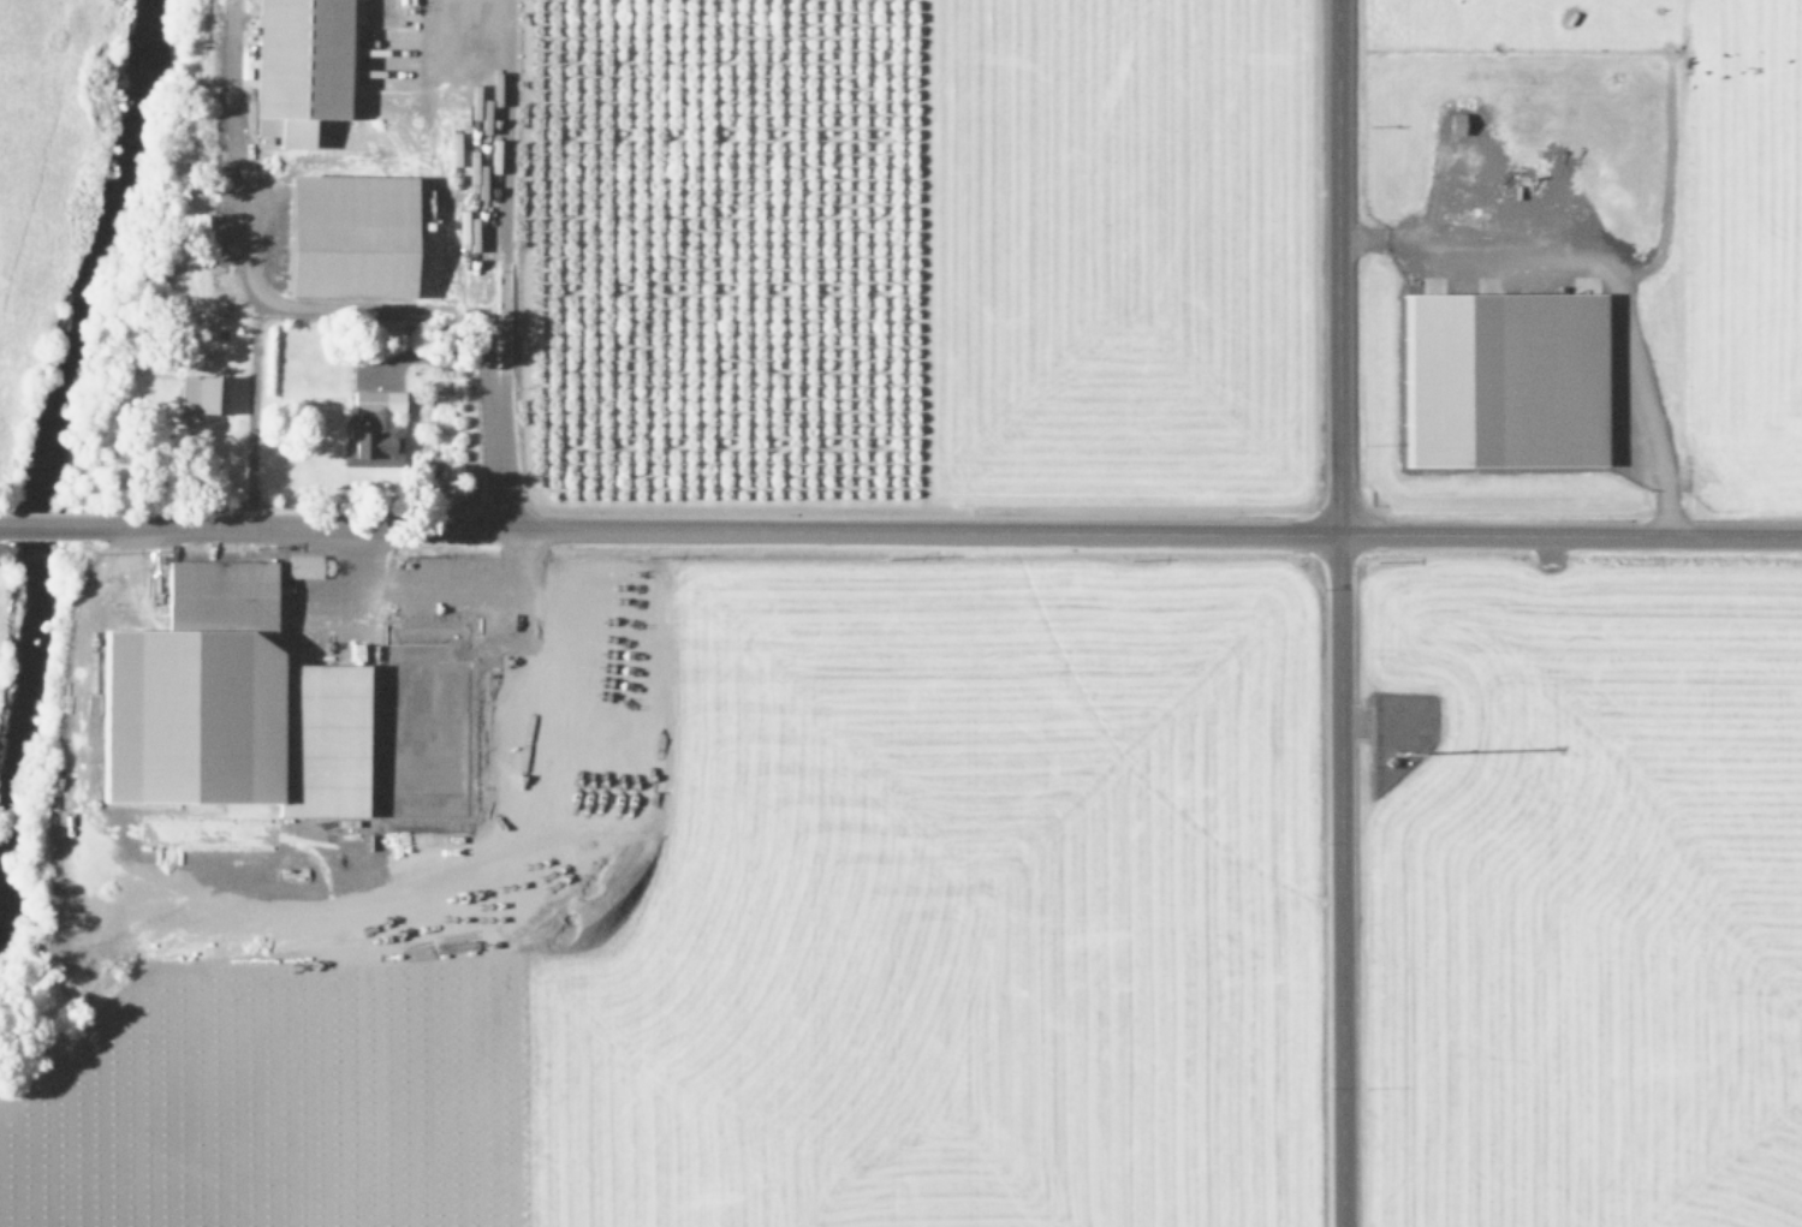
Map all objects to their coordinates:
building: (304, 59)
building: (1452, 124)
crop: (41, 141)
building: (352, 236)
building: (1507, 380)
building: (201, 394)
building: (373, 430)
road: (50, 526)
road: (951, 531)
building: (301, 566)
road: (1337, 613)
building: (231, 704)
crop: (773, 931)

